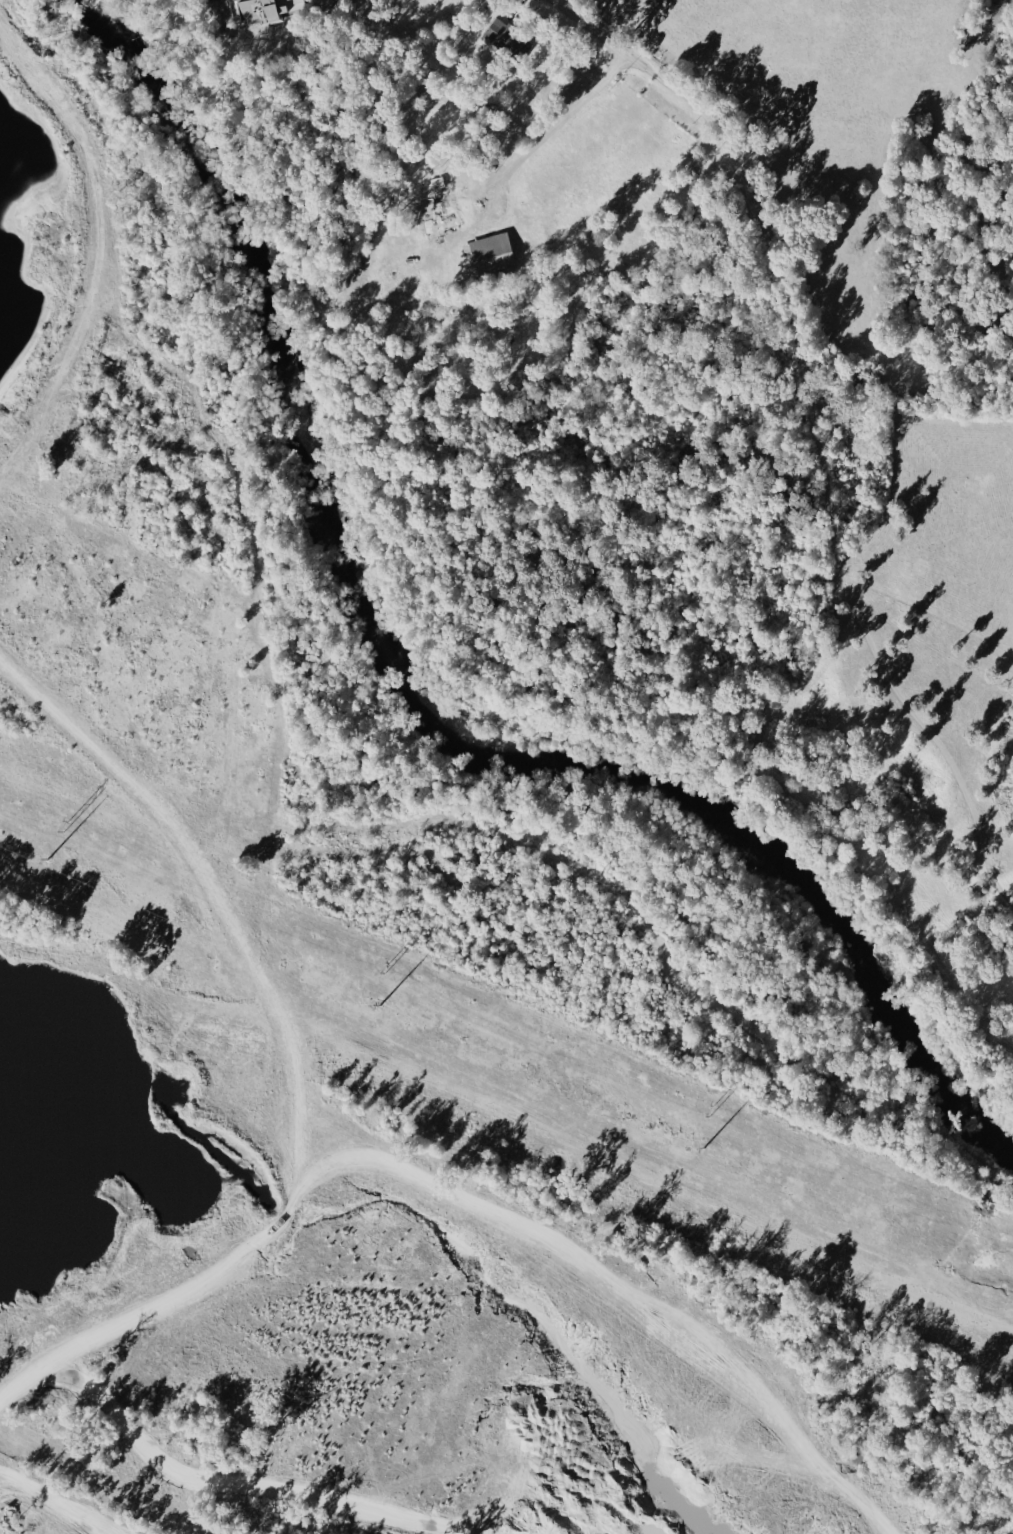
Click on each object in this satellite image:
building: (348, 0)
building: (265, 10)
road: (555, 131)
building: (439, 206)
road: (763, 223)
road: (101, 239)
building: (491, 254)
river: (416, 691)
power tower: (66, 828)
power tower: (387, 969)
road: (293, 1059)
power tower: (711, 1112)

